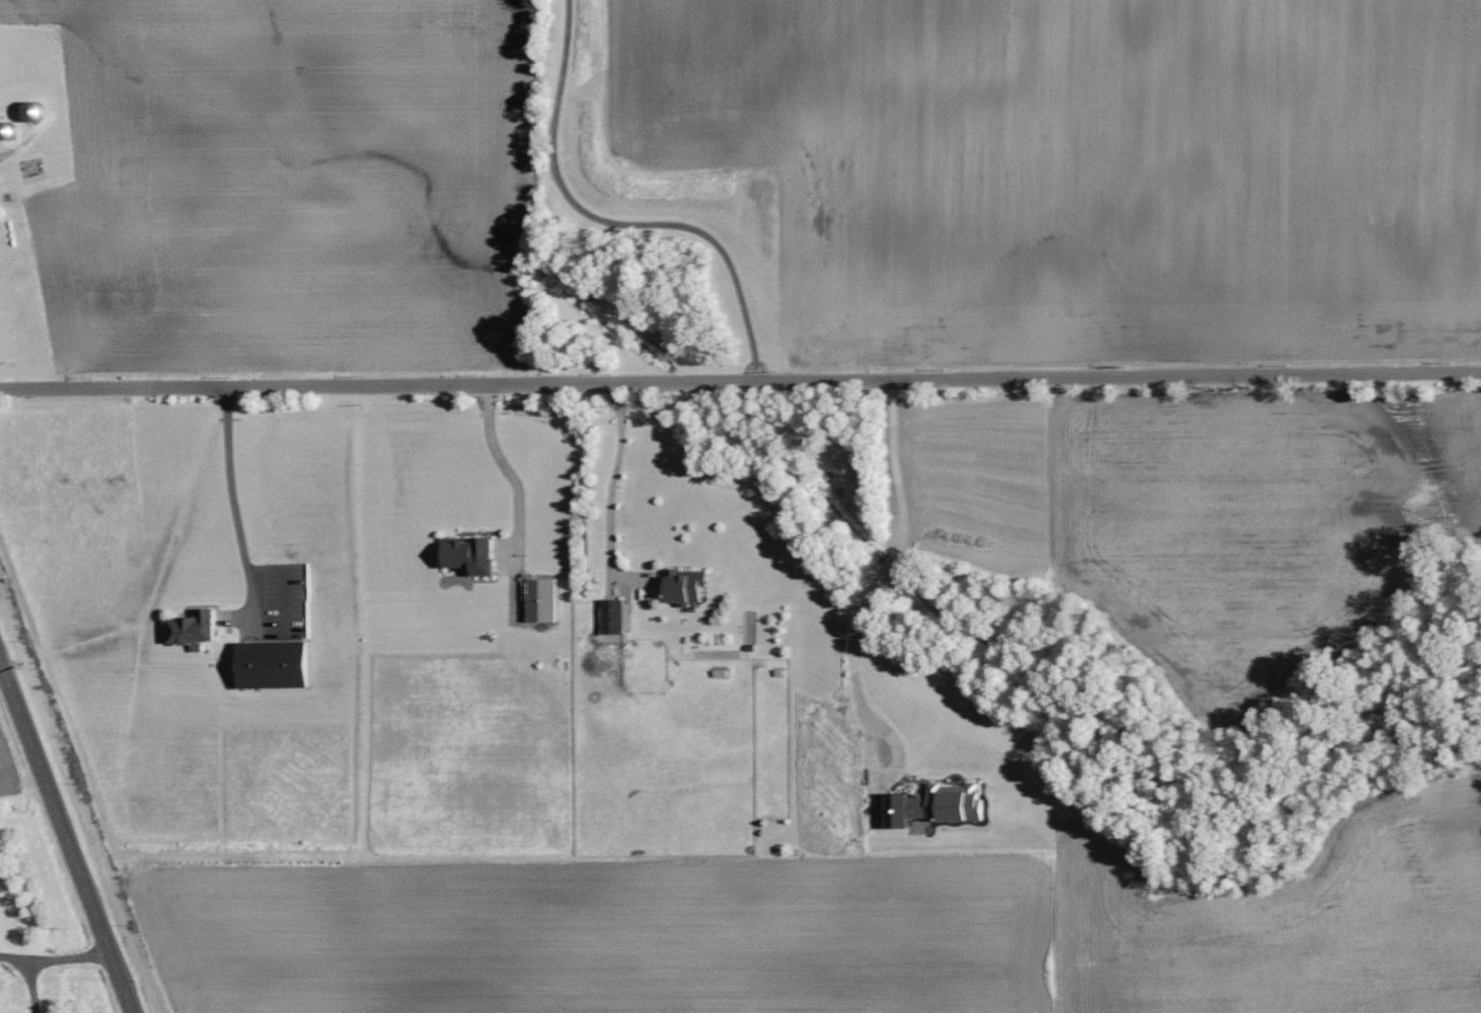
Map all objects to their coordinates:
road: (615, 223)
road: (740, 384)
road: (511, 472)
road: (611, 490)
road: (234, 493)
building: (474, 554)
building: (689, 587)
building: (544, 598)
building: (620, 616)
road: (856, 619)
building: (200, 629)
building: (279, 665)
building: (942, 805)
road: (67, 837)
road: (55, 955)
road: (33, 983)

